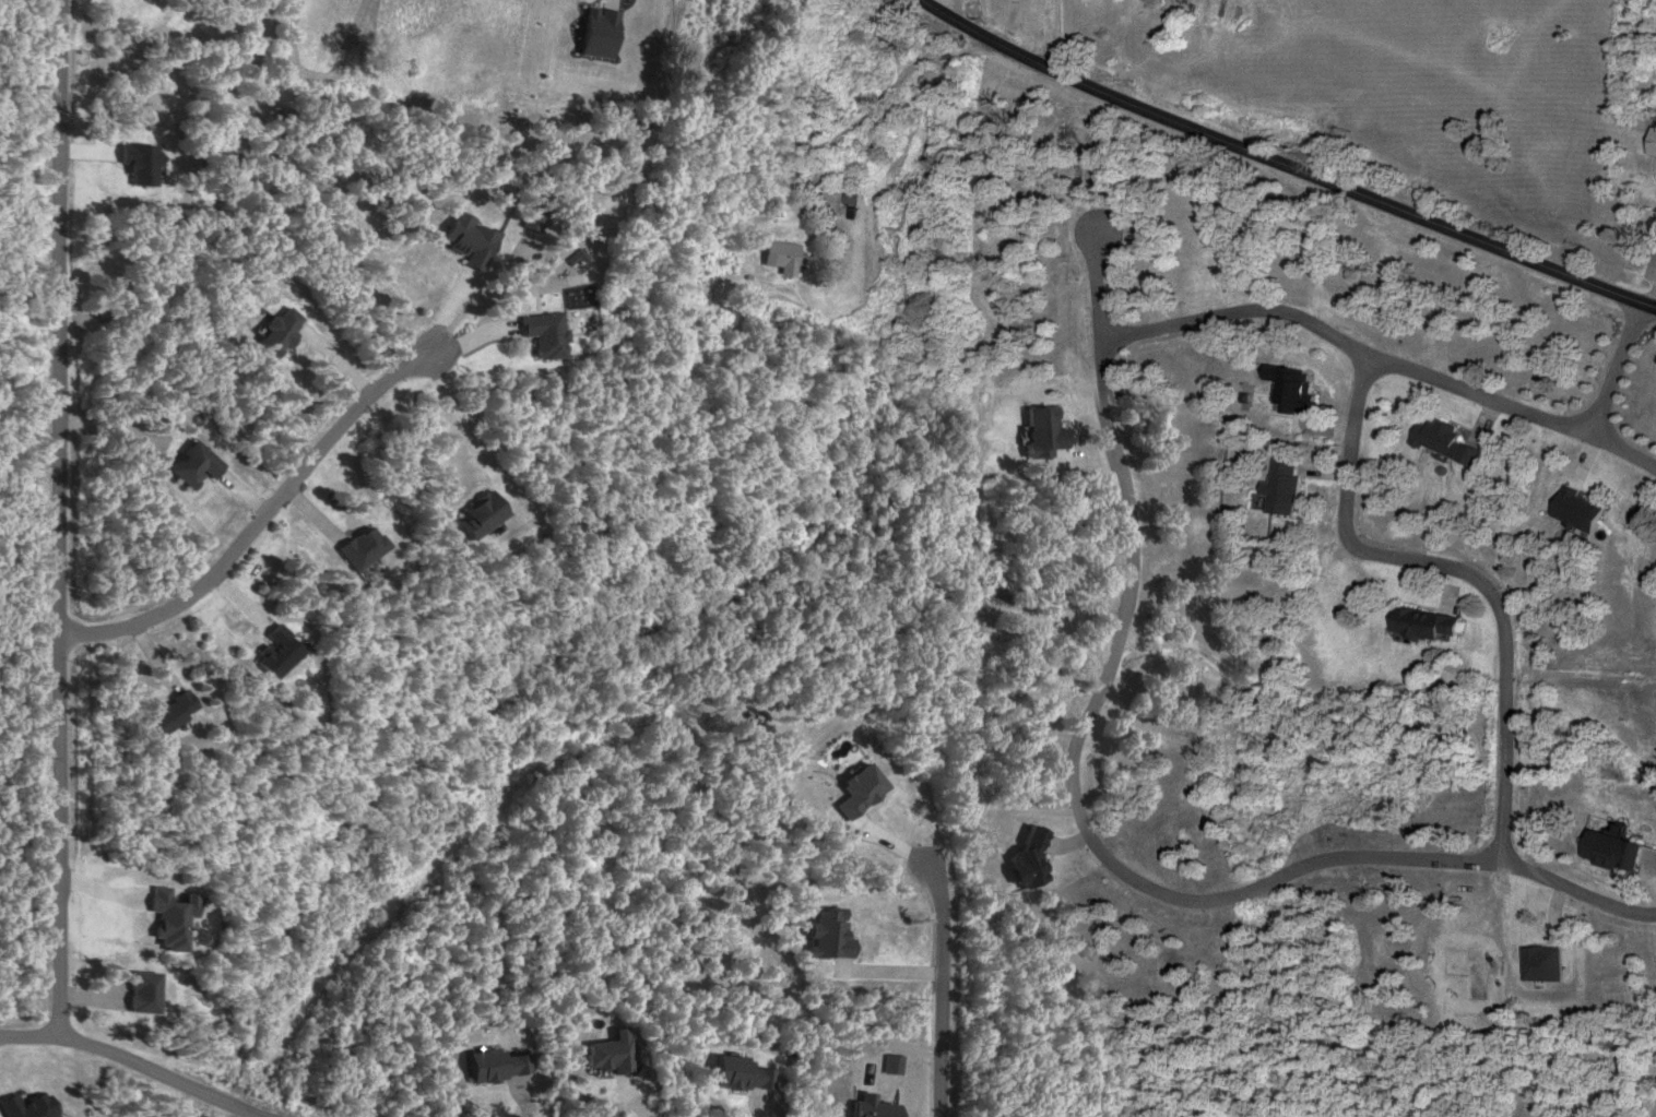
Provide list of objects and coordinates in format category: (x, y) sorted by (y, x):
road: (1071, 43)
building: (1654, 146)
road: (1281, 165)
building: (850, 199)
building: (783, 258)
building: (546, 335)
road: (1349, 337)
road: (1623, 368)
building: (1296, 389)
building: (1045, 432)
building: (1451, 442)
road: (1627, 450)
building: (197, 465)
building: (1284, 485)
building: (1584, 510)
building: (484, 515)
road: (258, 518)
road: (58, 520)
building: (365, 548)
road: (1452, 570)
building: (1428, 623)
building: (174, 713)
road: (1085, 830)
building: (1622, 851)
road: (939, 987)
road: (133, 1067)

